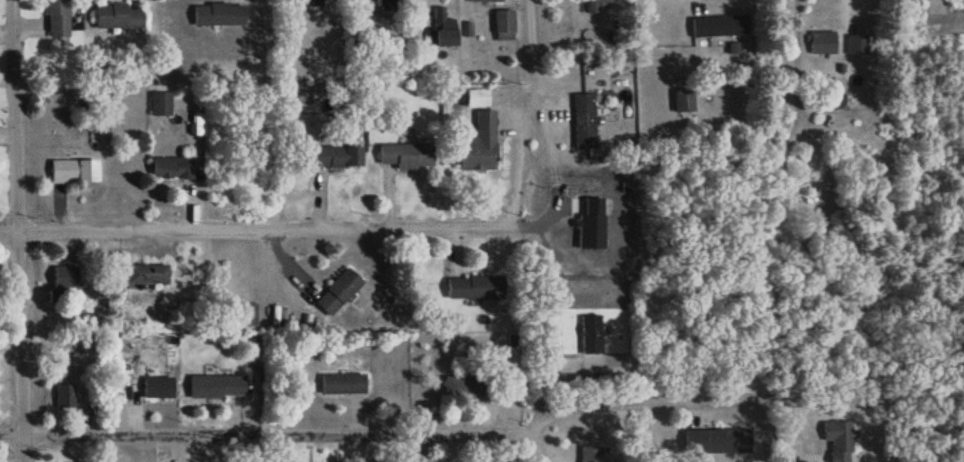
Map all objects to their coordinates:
building: (484, 0)
road: (670, 2)
building: (589, 5)
building: (386, 6)
building: (218, 13)
road: (844, 14)
building: (116, 15)
building: (56, 18)
building: (502, 24)
building: (718, 25)
building: (441, 28)
building: (821, 41)
building: (856, 44)
road: (530, 54)
building: (682, 100)
building: (159, 102)
building: (583, 120)
building: (478, 144)
building: (405, 155)
building: (335, 156)
building: (170, 166)
road: (517, 166)
building: (73, 170)
road: (22, 230)
road: (141, 232)
road: (416, 232)
building: (141, 274)
building: (64, 276)
building: (474, 287)
building: (338, 291)
building: (246, 314)
building: (590, 333)
building: (342, 383)
building: (216, 385)
building: (454, 385)
building: (157, 386)
building: (64, 395)
road: (676, 396)
road: (268, 435)
building: (716, 440)
building: (839, 441)
road: (537, 449)
building: (589, 454)

